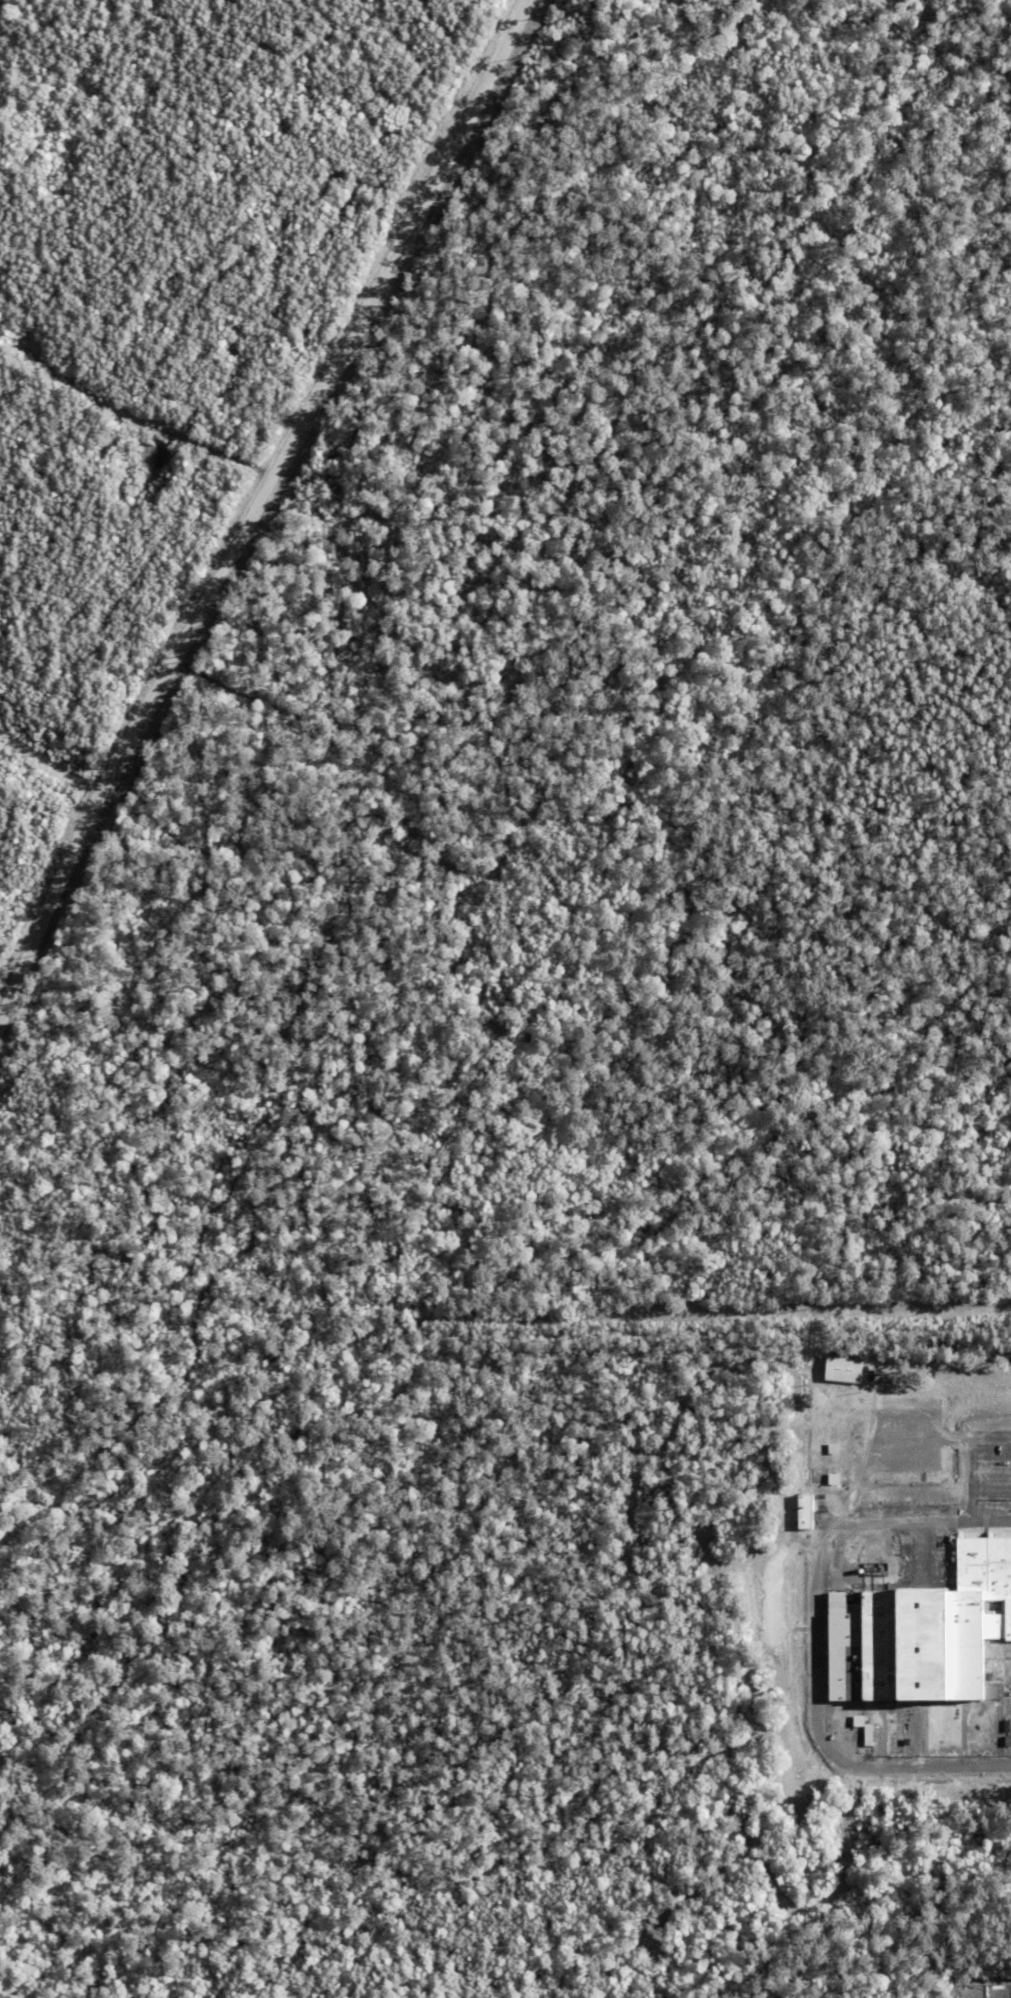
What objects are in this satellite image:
road: (257, 505)
building: (840, 1369)
building: (834, 1450)
building: (834, 1480)
building: (806, 1515)
building: (986, 1579)
road: (815, 1641)
building: (901, 1647)

